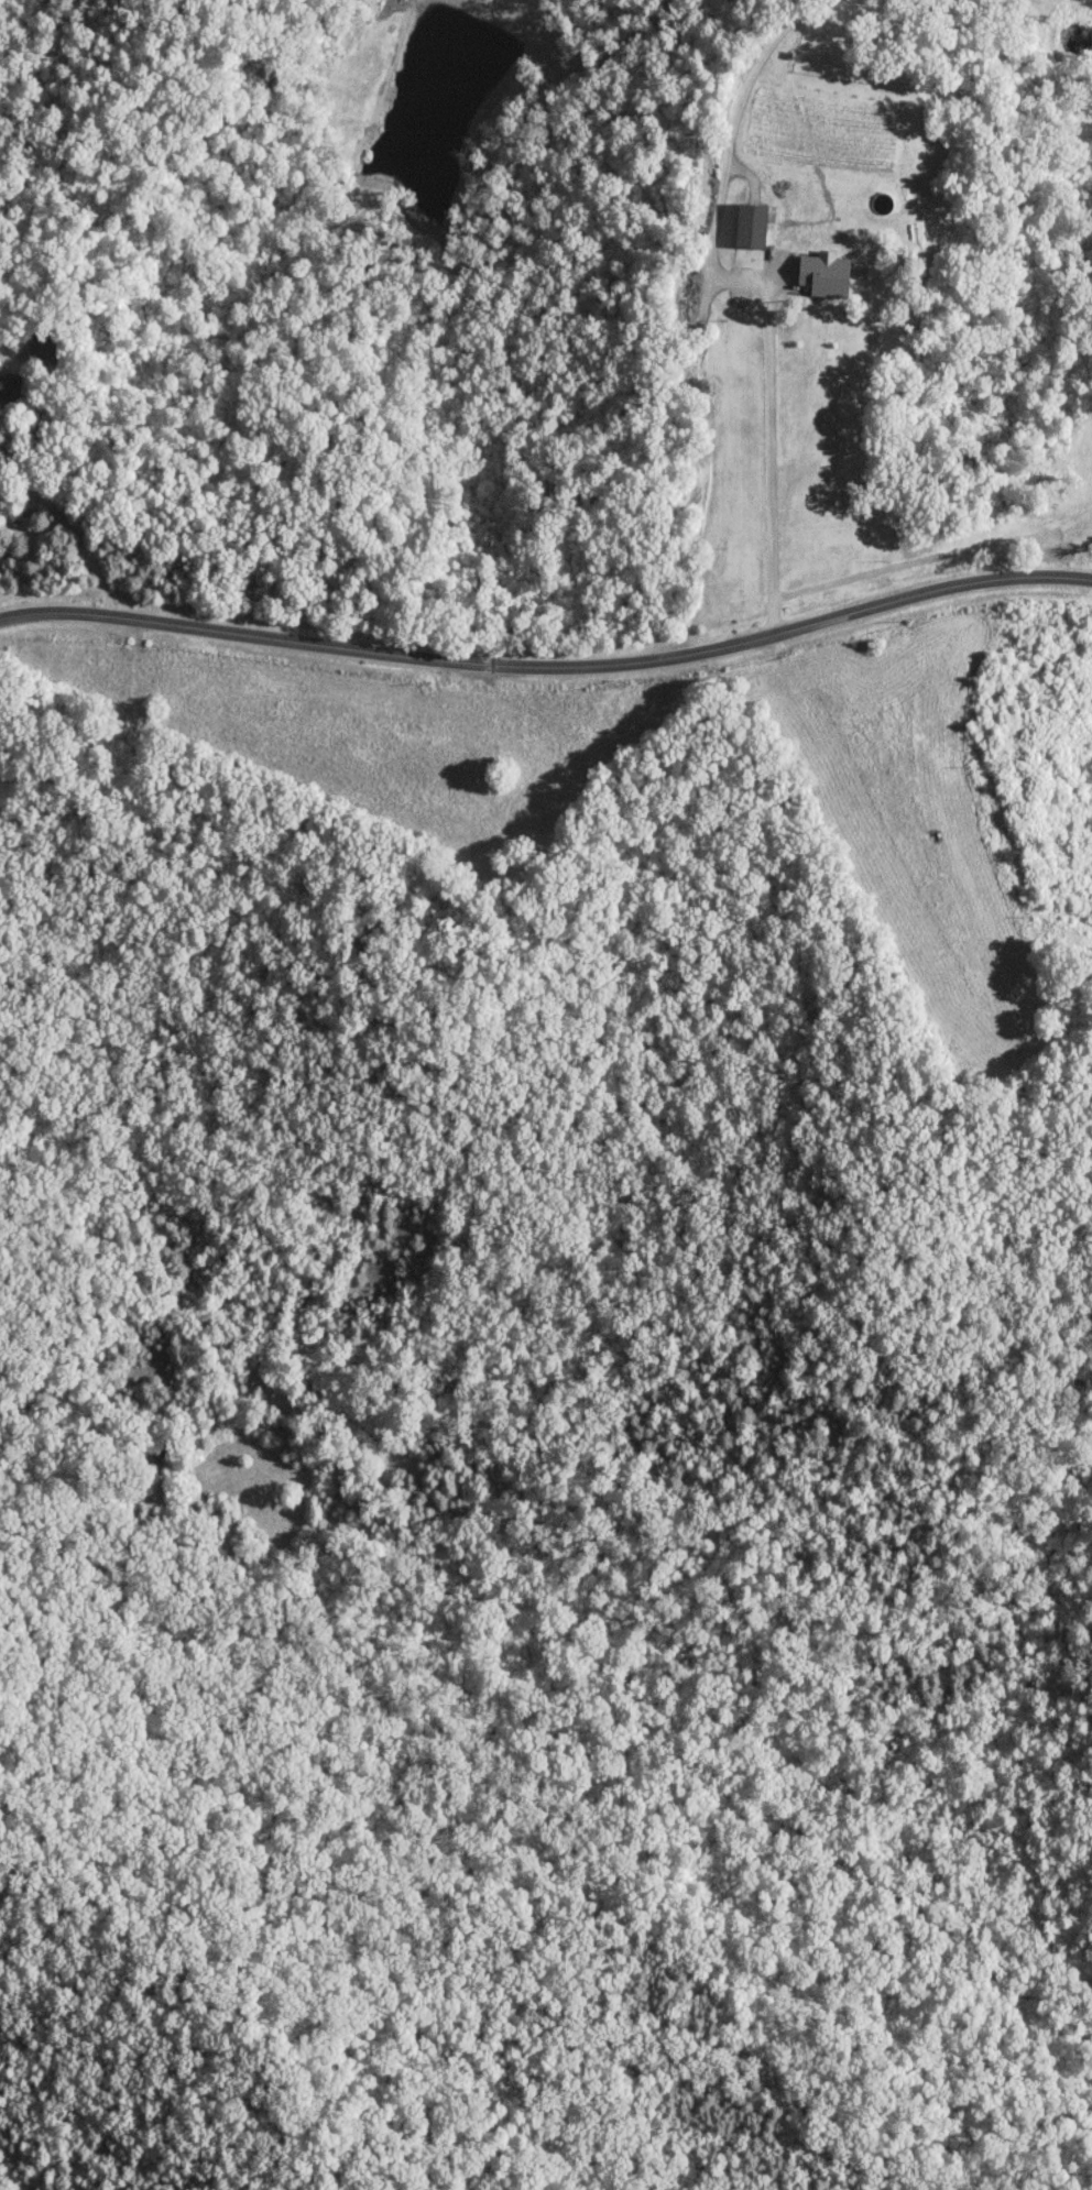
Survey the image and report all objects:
building: (753, 225)
road: (761, 285)
building: (48, 346)
building: (11, 386)
road: (58, 513)
building: (802, 543)
road: (548, 660)

